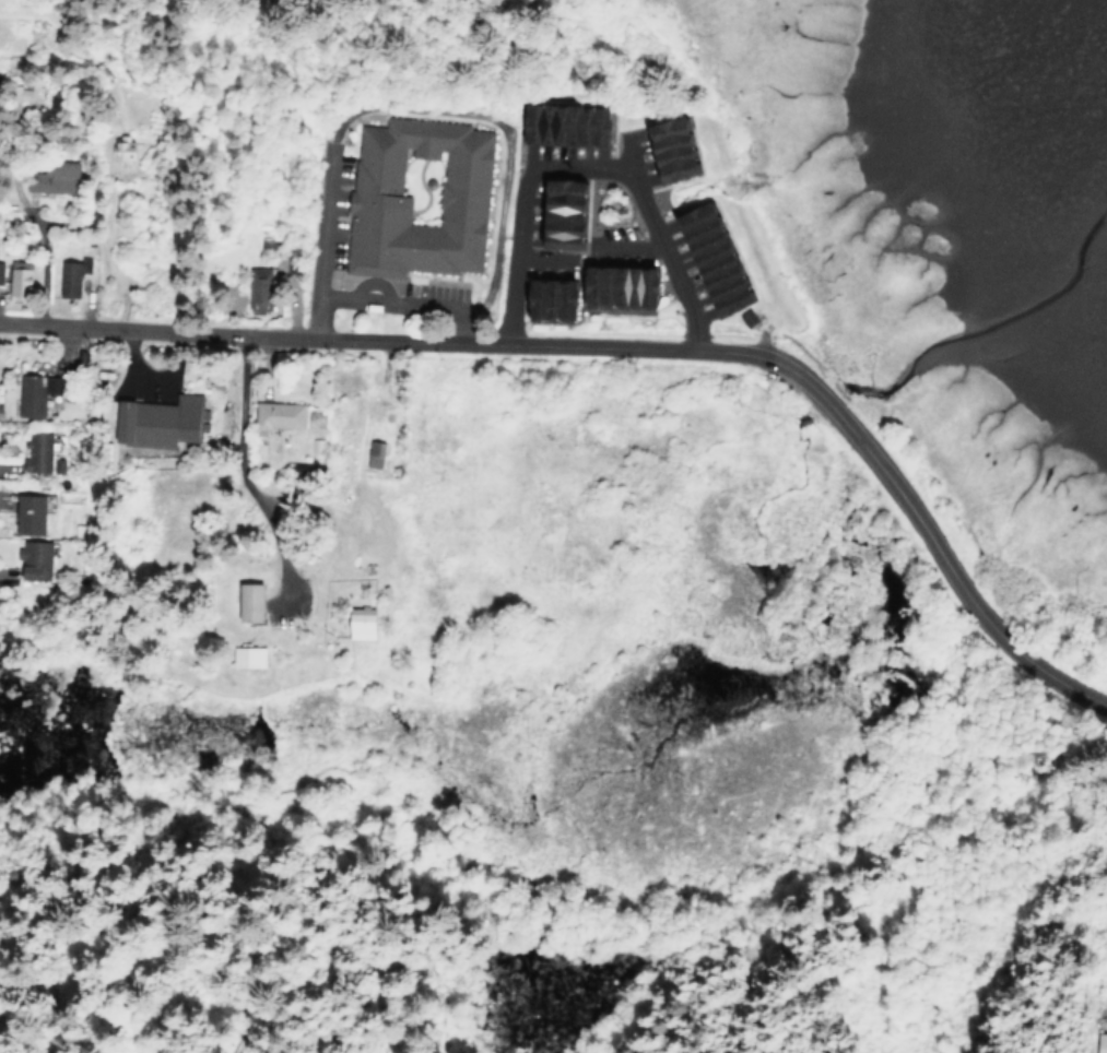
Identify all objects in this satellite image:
building: (16, 93)
building: (555, 123)
building: (661, 149)
building: (120, 150)
road: (629, 155)
road: (589, 168)
building: (49, 178)
building: (413, 198)
road: (323, 202)
building: (552, 213)
road: (591, 253)
building: (703, 259)
building: (71, 275)
building: (15, 277)
building: (612, 285)
building: (255, 289)
building: (540, 299)
road: (400, 304)
road: (629, 346)
road: (238, 382)
building: (26, 395)
building: (272, 416)
building: (311, 419)
building: (154, 422)
building: (219, 424)
building: (369, 454)
building: (34, 455)
building: (23, 514)
building: (27, 558)
building: (243, 602)
building: (355, 624)
building: (242, 656)
building: (1099, 1043)

